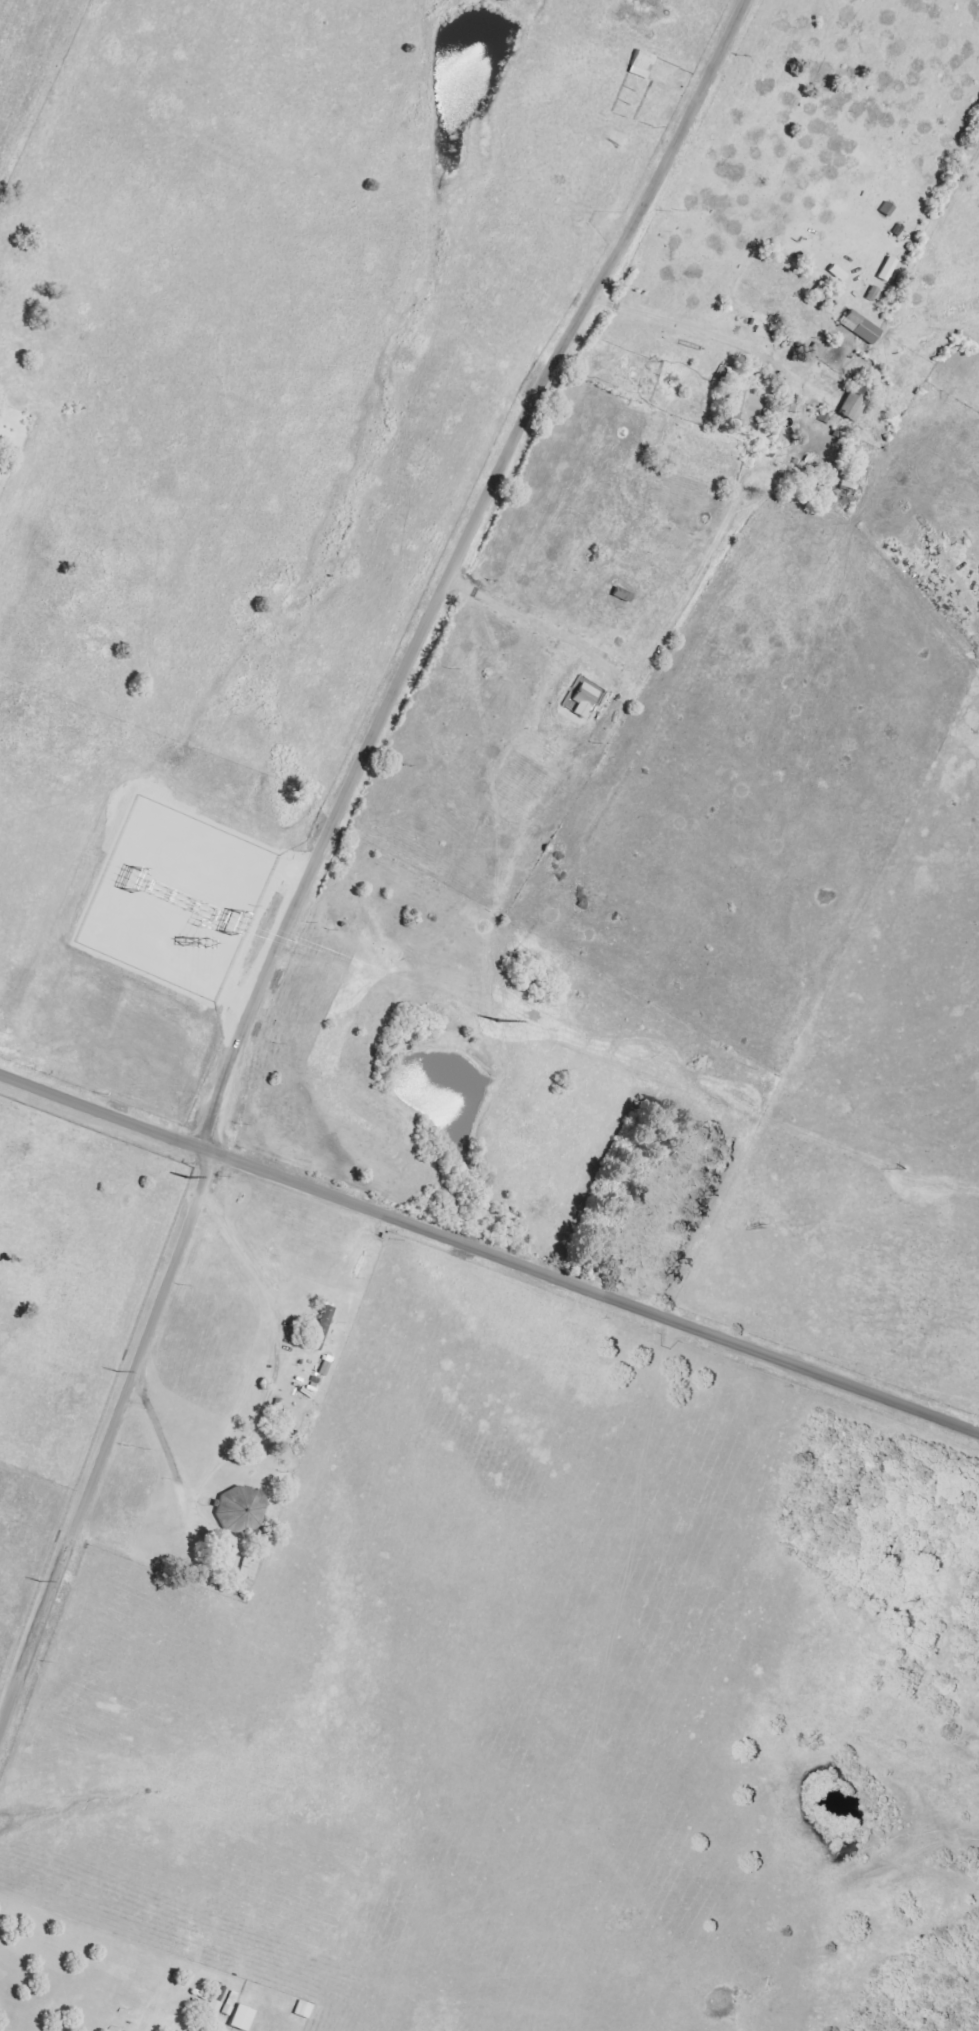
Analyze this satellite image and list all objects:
building: (889, 210)
building: (889, 270)
building: (840, 274)
building: (875, 294)
building: (863, 328)
road: (683, 331)
building: (857, 402)
building: (748, 409)
building: (851, 484)
building: (587, 700)
road: (322, 848)
power substation: (177, 899)
road: (490, 1254)
building: (327, 1322)
road: (156, 1451)
building: (243, 1511)
building: (251, 1568)
building: (215, 2007)
building: (305, 2010)
building: (244, 2019)

